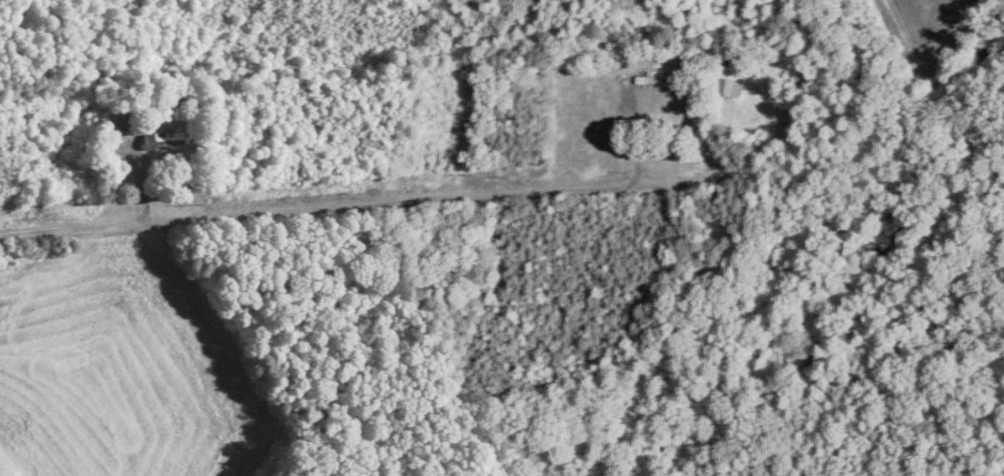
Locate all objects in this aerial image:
building: (657, 80)
building: (628, 82)
building: (732, 88)
building: (153, 136)
road: (327, 210)

